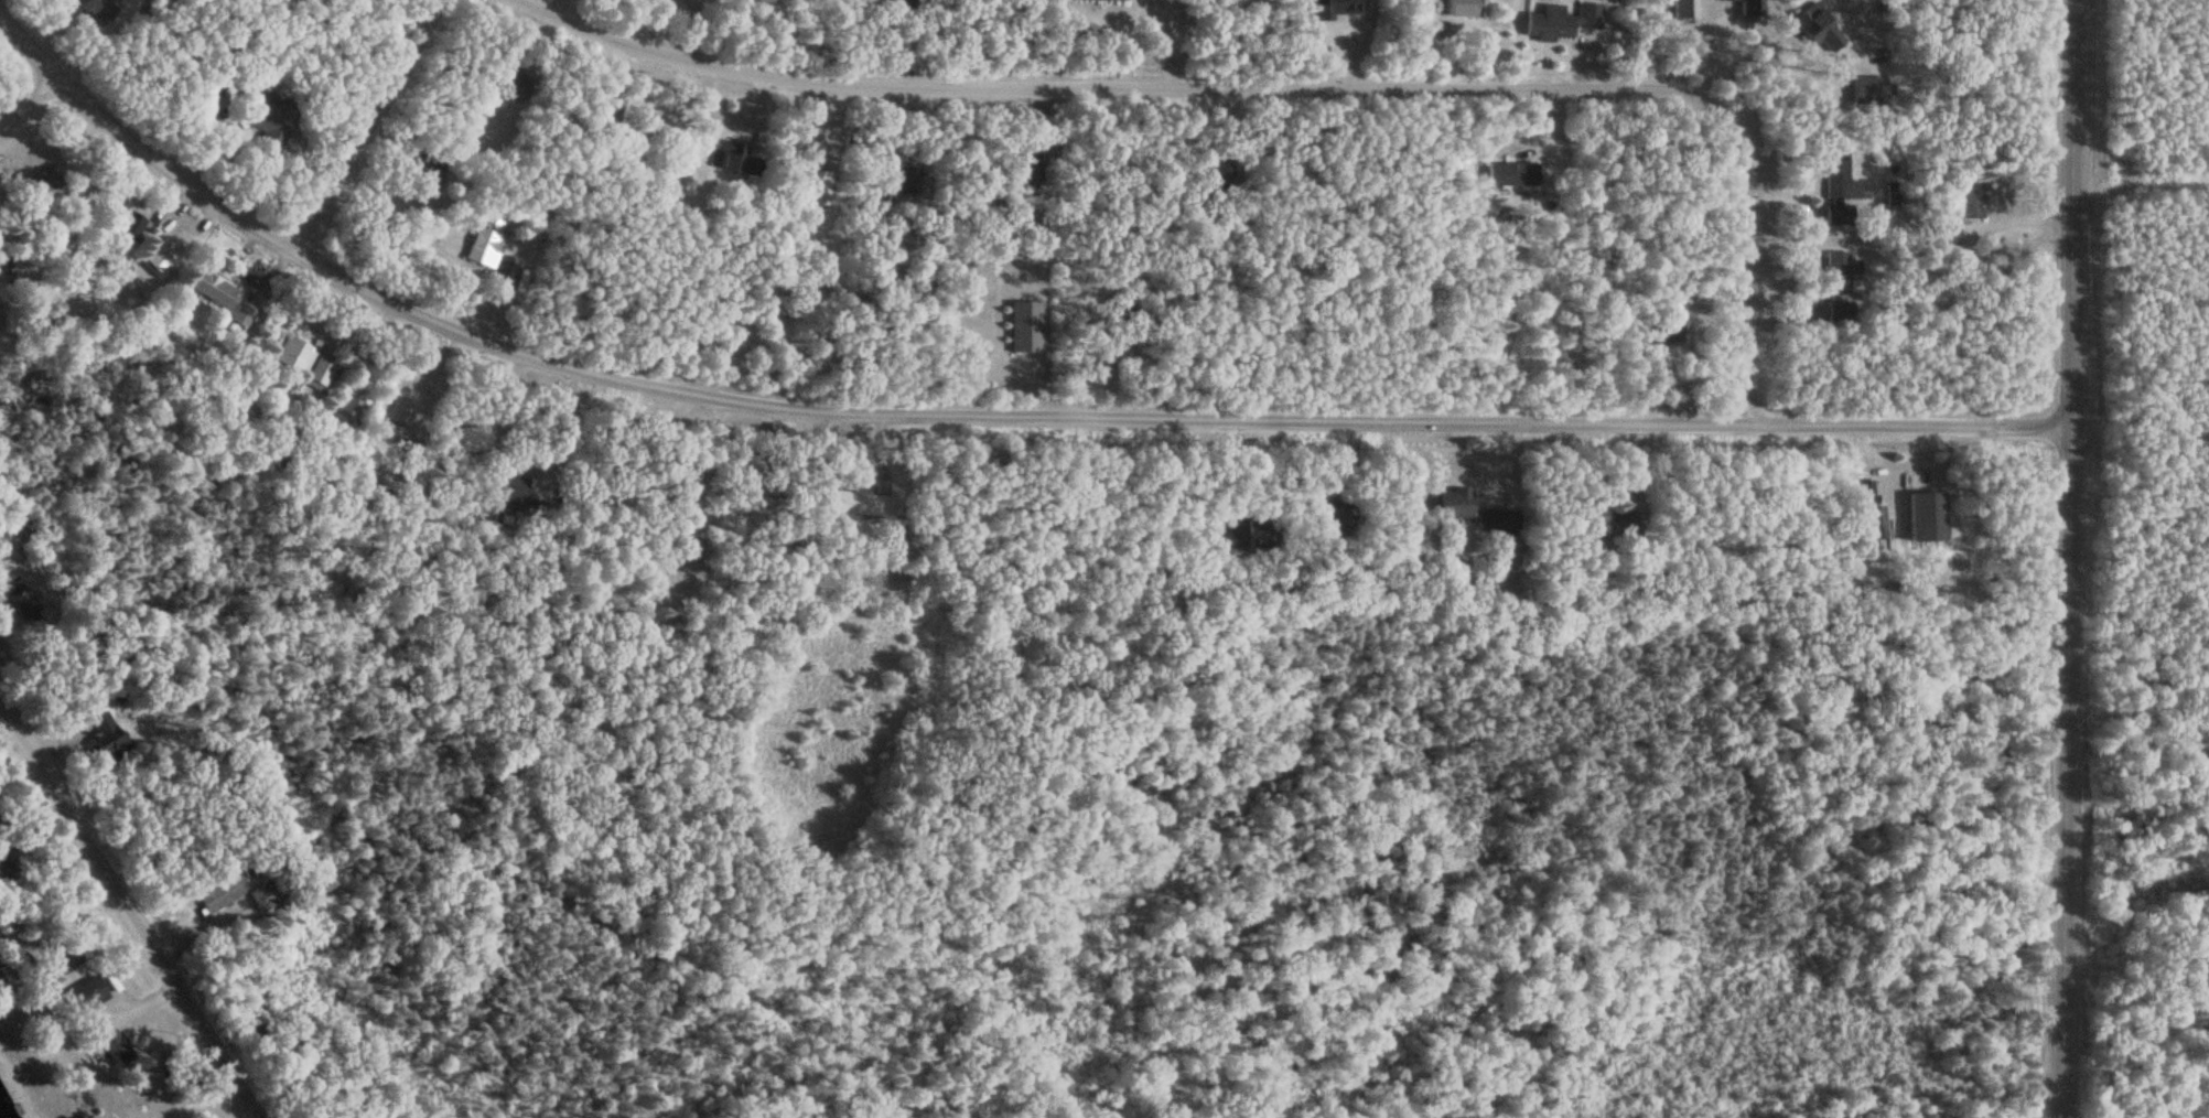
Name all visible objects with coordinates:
building: (1469, 7)
building: (1752, 8)
building: (1685, 9)
building: (1333, 10)
building: (1554, 24)
road: (1281, 88)
road: (22, 106)
road: (365, 123)
building: (736, 158)
building: (1515, 176)
building: (1841, 181)
building: (489, 239)
building: (160, 259)
building: (24, 272)
building: (216, 289)
building: (244, 314)
building: (1026, 326)
building: (306, 361)
building: (351, 413)
road: (976, 413)
building: (514, 491)
building: (1458, 502)
building: (852, 503)
road: (2068, 559)
road: (2137, 696)
building: (108, 733)
building: (222, 895)
building: (267, 897)
road: (136, 905)
building: (69, 957)
building: (18, 969)
building: (89, 993)

